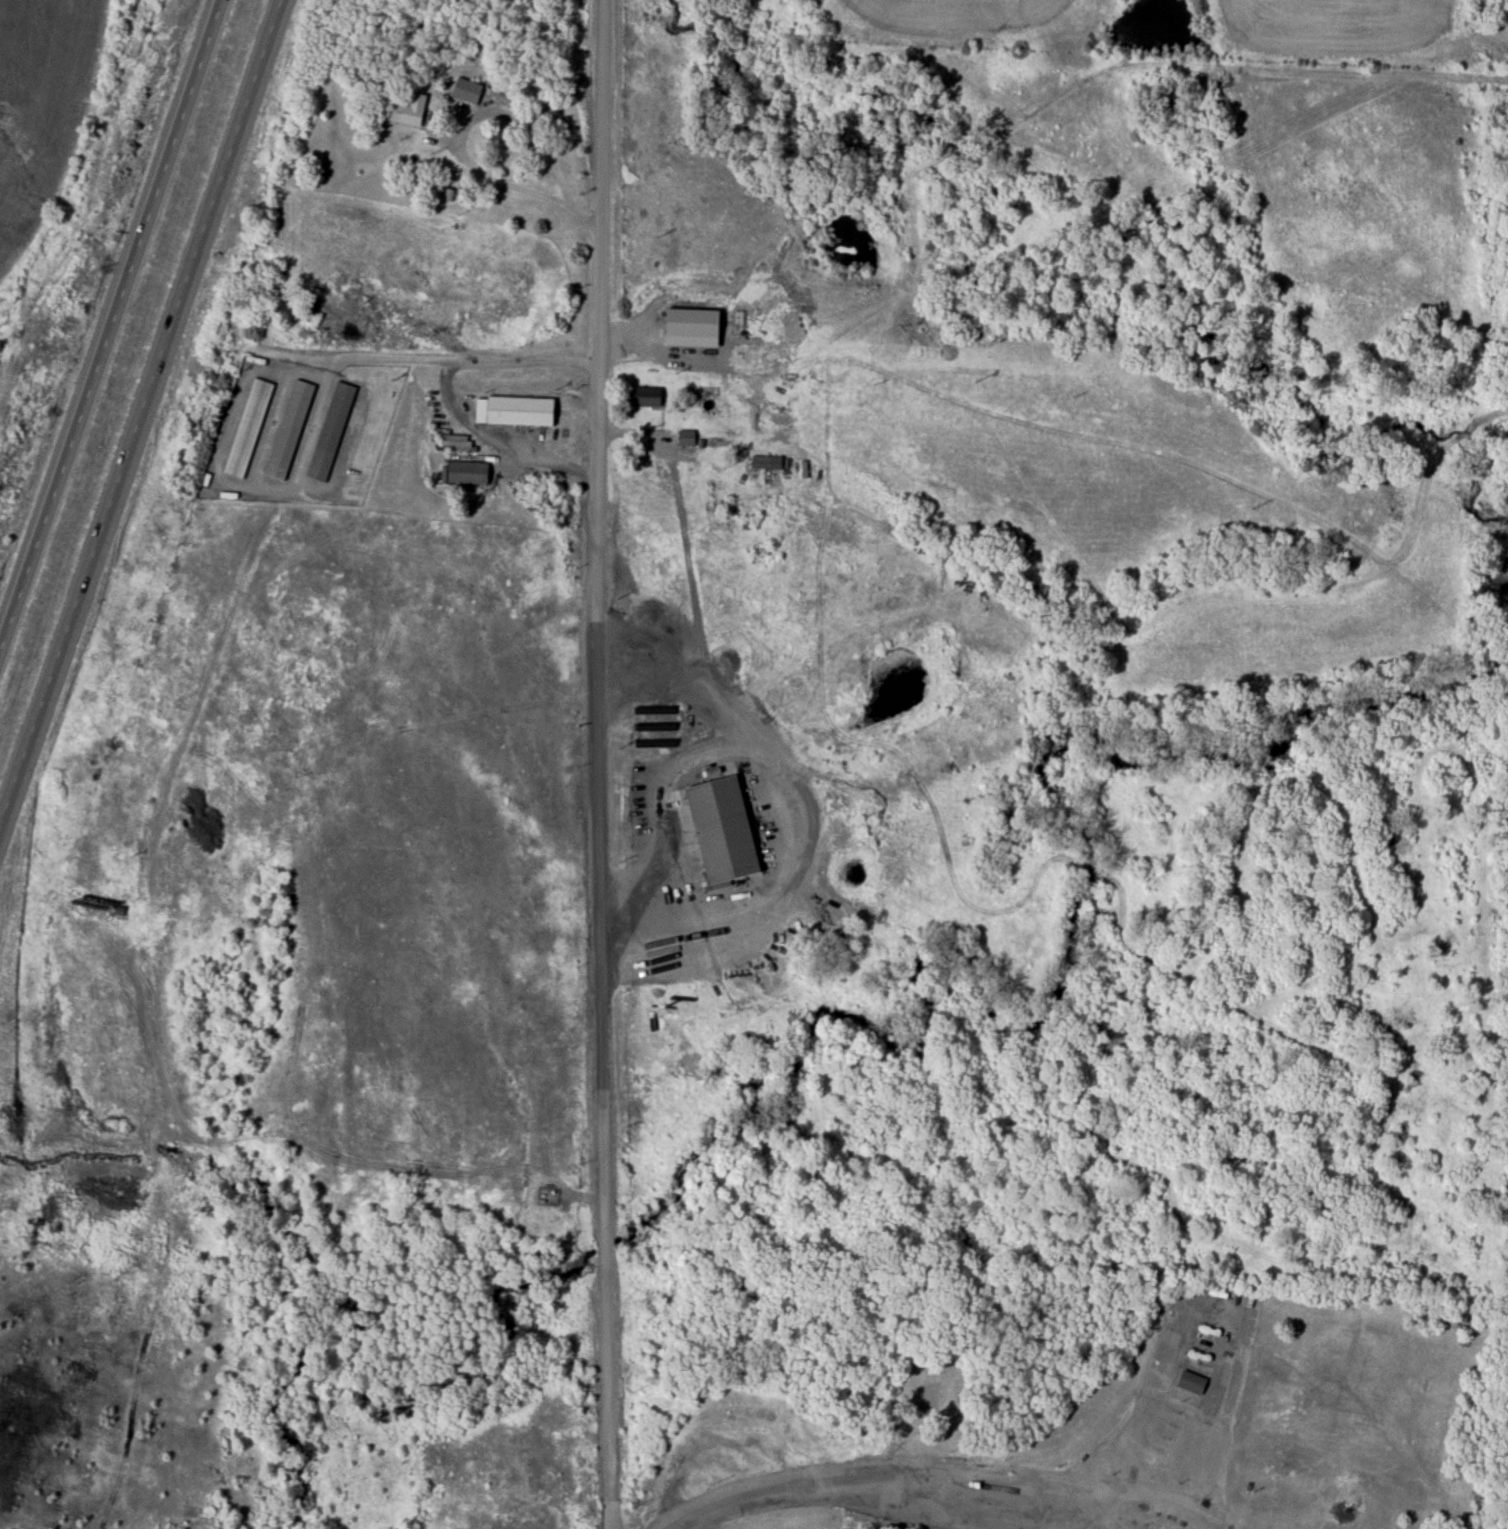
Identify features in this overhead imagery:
building: (466, 91)
building: (405, 111)
road: (527, 124)
road: (585, 221)
road: (109, 323)
road: (442, 388)
building: (646, 397)
road: (142, 408)
building: (515, 411)
building: (247, 428)
building: (288, 430)
building: (330, 431)
building: (686, 438)
building: (454, 444)
building: (467, 473)
building: (741, 479)
road: (597, 764)
road: (787, 828)
building: (723, 830)
road: (1237, 1340)
building: (1191, 1383)
building: (929, 1398)
road: (878, 1466)

